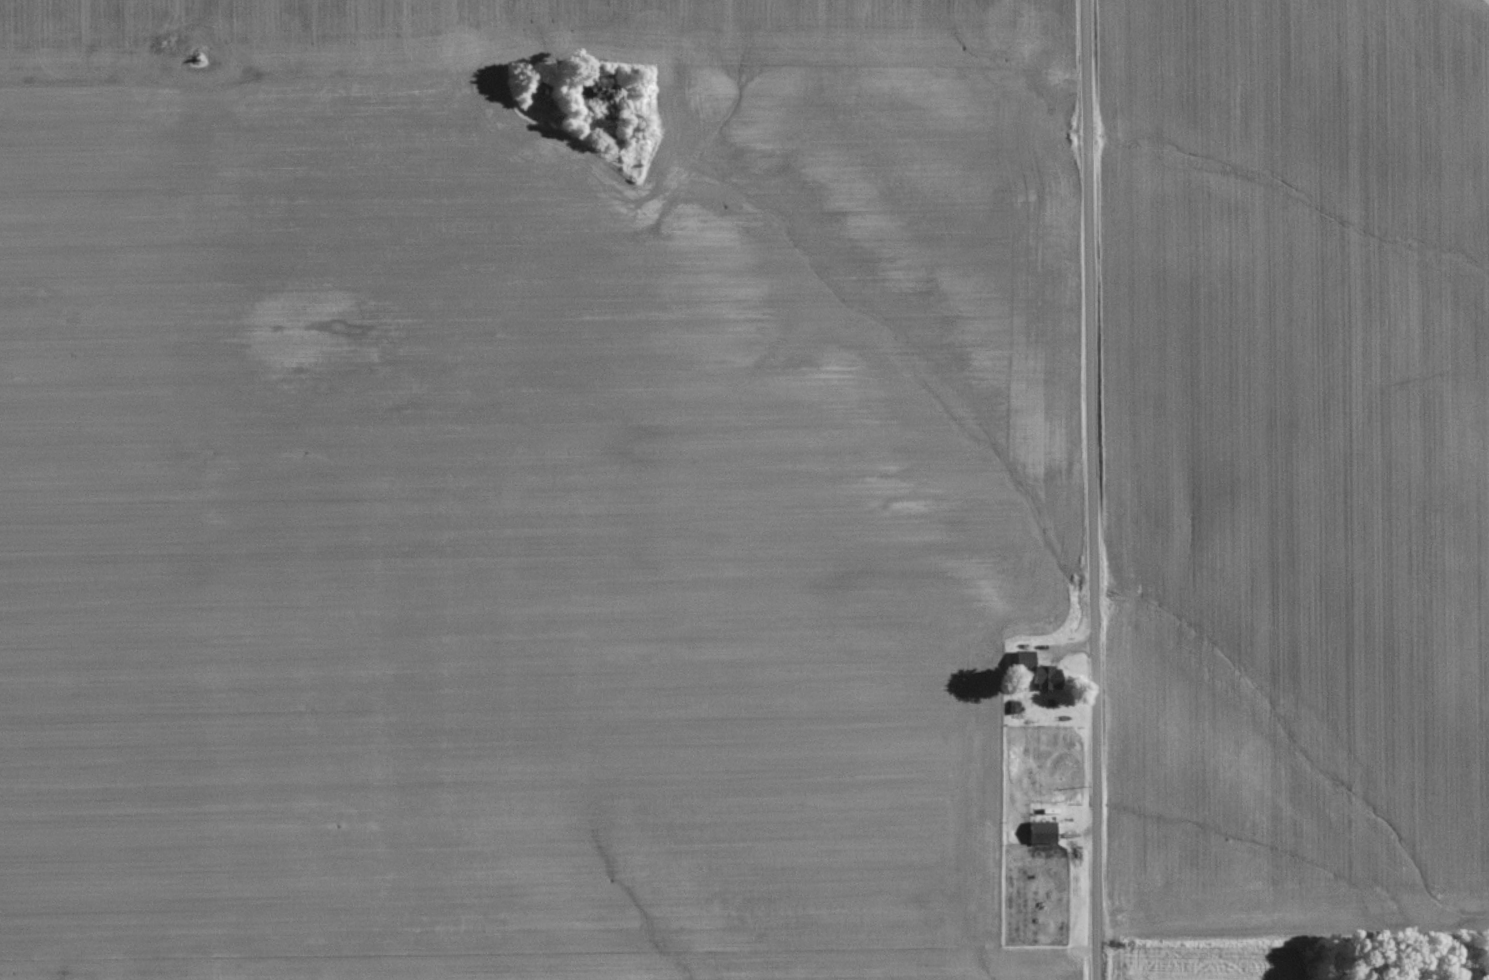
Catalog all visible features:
road: (1079, 490)
building: (1029, 655)
building: (1051, 677)
building: (1045, 834)

